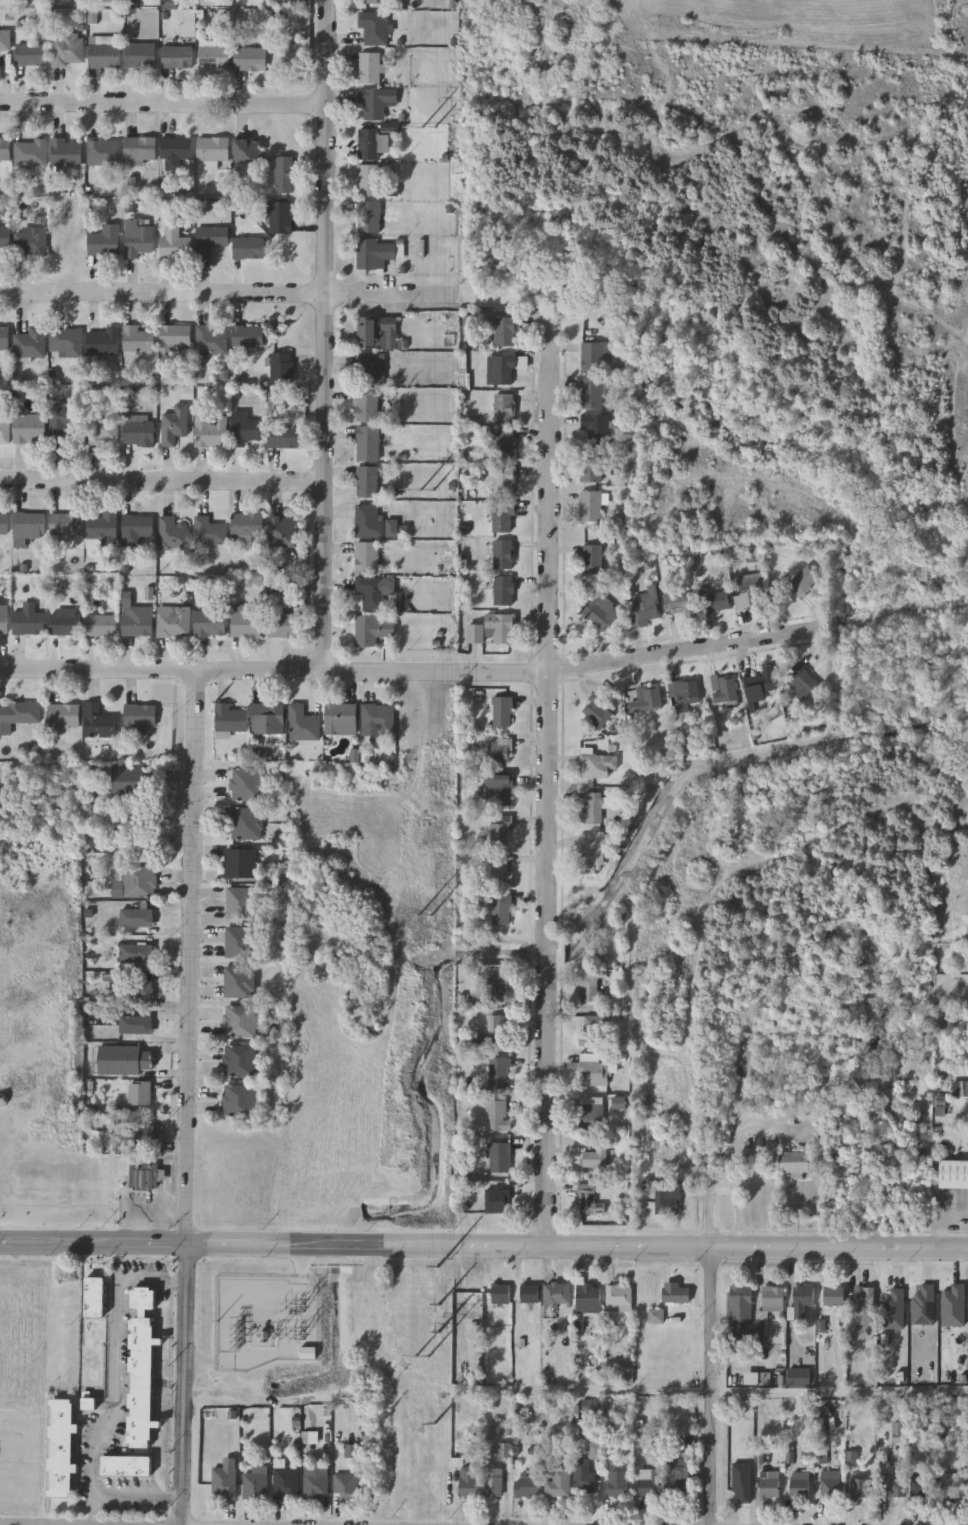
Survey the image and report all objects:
building: (377, 1)
building: (372, 27)
building: (5, 40)
building: (66, 50)
building: (30, 55)
building: (140, 56)
building: (104, 57)
building: (212, 57)
building: (176, 58)
building: (248, 59)
building: (368, 67)
road: (99, 100)
road: (262, 102)
building: (372, 103)
power tower: (432, 125)
building: (371, 143)
building: (5, 149)
building: (139, 149)
building: (210, 149)
building: (245, 150)
building: (102, 152)
building: (30, 153)
building: (65, 153)
building: (177, 154)
building: (282, 174)
building: (367, 179)
building: (368, 216)
building: (277, 217)
building: (4, 238)
building: (138, 240)
building: (208, 240)
building: (104, 241)
building: (29, 242)
building: (177, 246)
building: (246, 248)
building: (372, 253)
road: (98, 294)
road: (323, 296)
building: (374, 330)
building: (504, 331)
building: (246, 336)
road: (326, 336)
building: (4, 338)
building: (136, 339)
building: (176, 339)
building: (209, 341)
building: (65, 342)
building: (102, 342)
building: (29, 344)
building: (592, 356)
building: (279, 367)
building: (371, 367)
building: (500, 369)
building: (590, 392)
building: (365, 405)
building: (504, 408)
building: (62, 423)
building: (177, 427)
building: (4, 428)
building: (29, 429)
building: (243, 429)
building: (595, 429)
building: (101, 430)
building: (209, 430)
building: (137, 434)
building: (283, 436)
building: (366, 443)
building: (502, 444)
building: (590, 466)
building: (501, 480)
building: (366, 482)
road: (96, 488)
power tower: (429, 490)
road: (259, 491)
road: (551, 498)
building: (590, 505)
building: (502, 518)
building: (367, 521)
building: (3, 524)
building: (28, 525)
building: (245, 526)
building: (64, 527)
building: (101, 527)
building: (136, 530)
building: (207, 531)
building: (281, 531)
building: (175, 536)
building: (501, 554)
building: (365, 558)
building: (591, 559)
building: (801, 581)
building: (501, 590)
building: (372, 591)
building: (750, 595)
building: (677, 602)
building: (714, 602)
building: (643, 607)
building: (600, 612)
building: (27, 621)
building: (137, 622)
building: (3, 623)
building: (63, 623)
building: (176, 624)
building: (208, 624)
building: (244, 625)
building: (282, 625)
building: (101, 626)
building: (492, 629)
building: (371, 630)
road: (681, 651)
road: (97, 671)
road: (372, 673)
building: (799, 681)
building: (759, 685)
building: (725, 689)
building: (683, 695)
building: (646, 698)
building: (598, 706)
building: (500, 712)
building: (17, 716)
building: (63, 717)
building: (139, 718)
building: (267, 718)
building: (376, 718)
building: (339, 719)
building: (229, 720)
building: (98, 723)
building: (302, 724)
building: (497, 750)
building: (595, 764)
building: (245, 784)
building: (130, 788)
building: (496, 791)
building: (591, 809)
building: (244, 823)
building: (498, 834)
building: (591, 853)
building: (239, 864)
building: (498, 870)
building: (133, 882)
building: (239, 903)
building: (500, 912)
power tower: (426, 915)
building: (136, 917)
building: (238, 943)
building: (136, 957)
road: (189, 958)
road: (547, 961)
building: (238, 982)
building: (589, 986)
building: (135, 988)
building: (497, 989)
building: (239, 1021)
building: (135, 1024)
building: (588, 1028)
building: (498, 1031)
building: (125, 1060)
building: (238, 1061)
building: (497, 1072)
building: (595, 1074)
building: (963, 1090)
building: (139, 1094)
building: (236, 1101)
building: (497, 1115)
building: (589, 1116)
building: (136, 1134)
building: (499, 1158)
building: (591, 1159)
building: (794, 1163)
road: (731, 1172)
building: (953, 1174)
building: (143, 1177)
building: (667, 1199)
building: (496, 1201)
building: (587, 1201)
road: (93, 1246)
road: (449, 1246)
road: (840, 1247)
building: (500, 1293)
building: (530, 1293)
building: (557, 1294)
building: (676, 1294)
building: (95, 1296)
building: (834, 1297)
building: (588, 1298)
building: (619, 1298)
building: (773, 1299)
building: (801, 1301)
building: (864, 1301)
power tower: (442, 1304)
building: (739, 1311)
building: (656, 1316)
power substation: (266, 1321)
power tower: (442, 1332)
building: (312, 1354)
power tower: (426, 1357)
building: (142, 1366)
building: (799, 1378)
road: (185, 1385)
road: (712, 1386)
road: (718, 1392)
road: (114, 1402)
building: (61, 1447)
building: (594, 1450)
building: (128, 1465)
building: (583, 1476)
building: (676, 1478)
building: (225, 1481)
building: (315, 1482)
building: (468, 1482)
building: (256, 1483)
building: (286, 1483)
building: (494, 1483)
building: (737, 1483)
building: (558, 1484)
building: (617, 1484)
building: (770, 1484)
building: (346, 1485)
building: (649, 1485)
building: (799, 1485)
building: (829, 1485)
building: (951, 1485)
building: (891, 1486)
building: (921, 1486)
building: (527, 1487)
building: (860, 1488)

